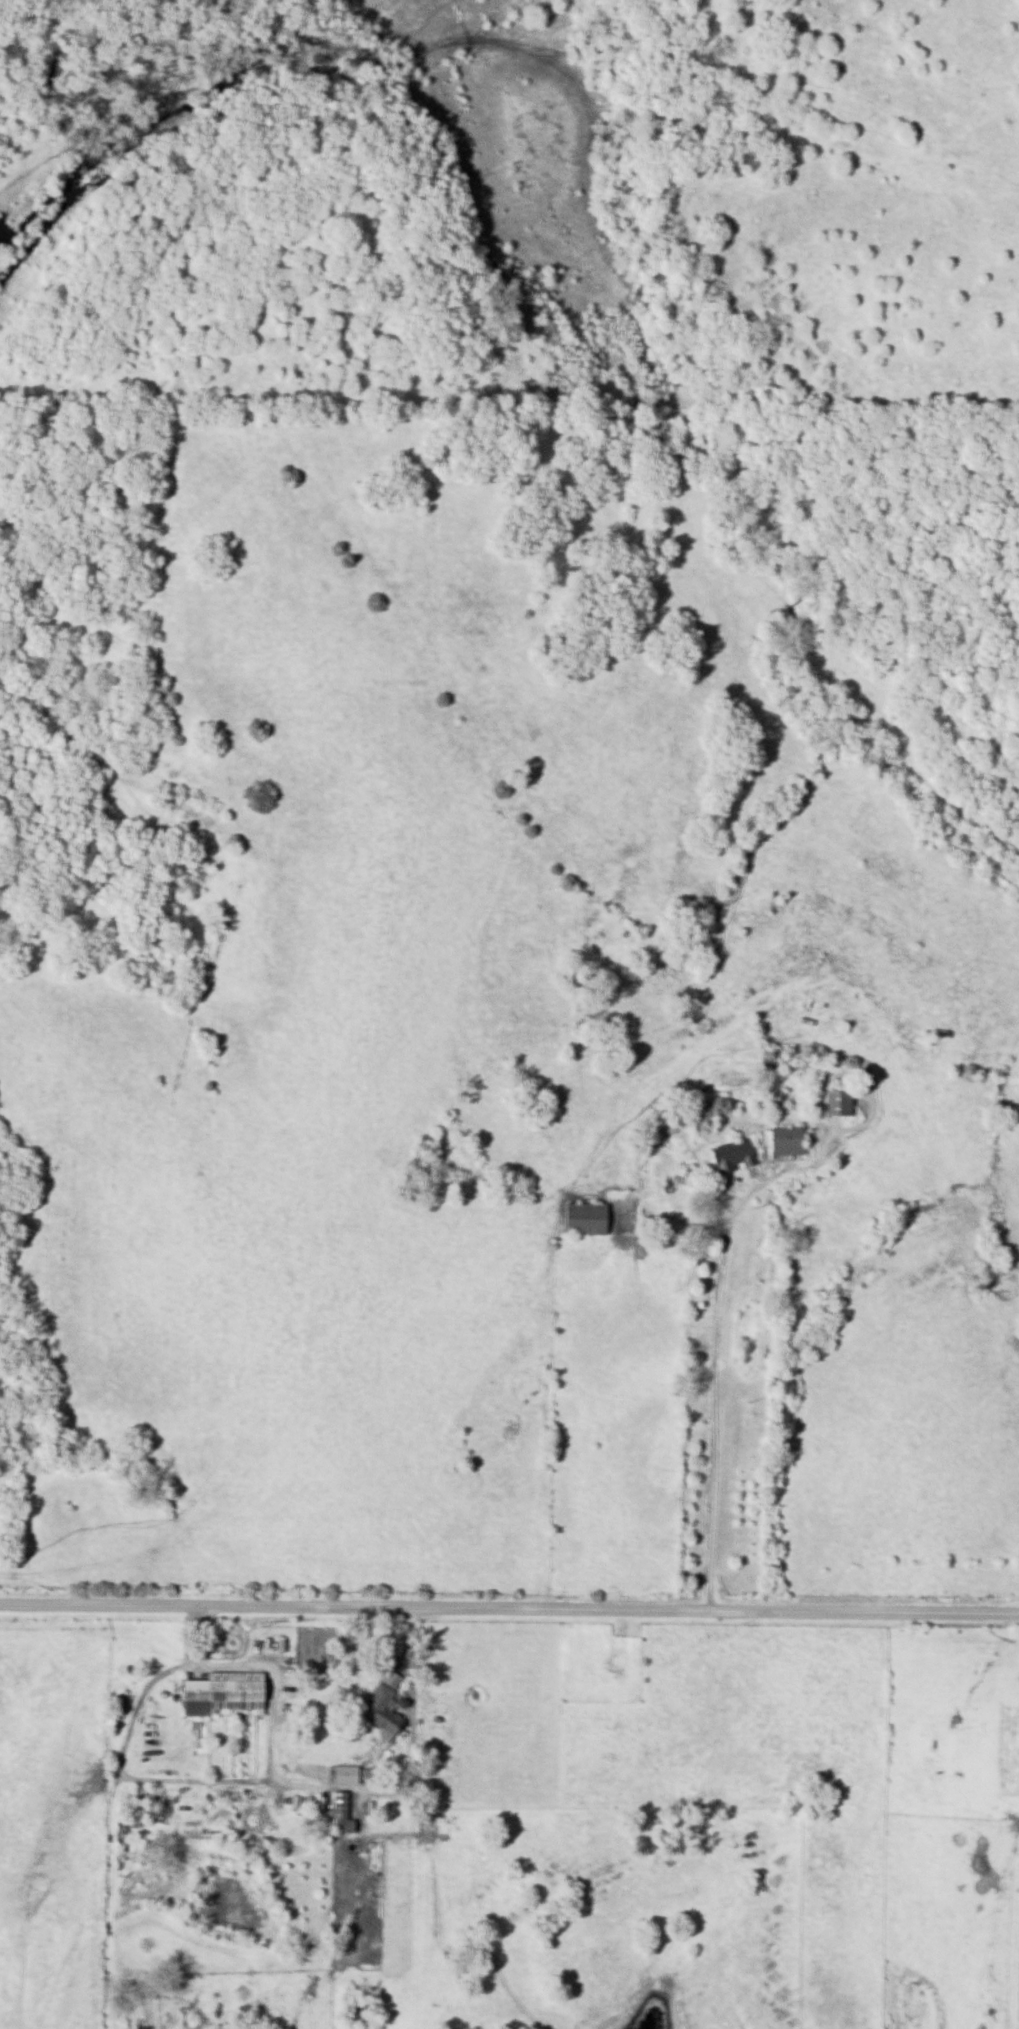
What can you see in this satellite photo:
building: (767, 1061)
building: (835, 1102)
building: (783, 1140)
building: (729, 1154)
building: (583, 1217)
road: (714, 1374)
road: (509, 1608)
building: (221, 1694)
building: (376, 1710)
road: (177, 1782)
building: (340, 1797)

